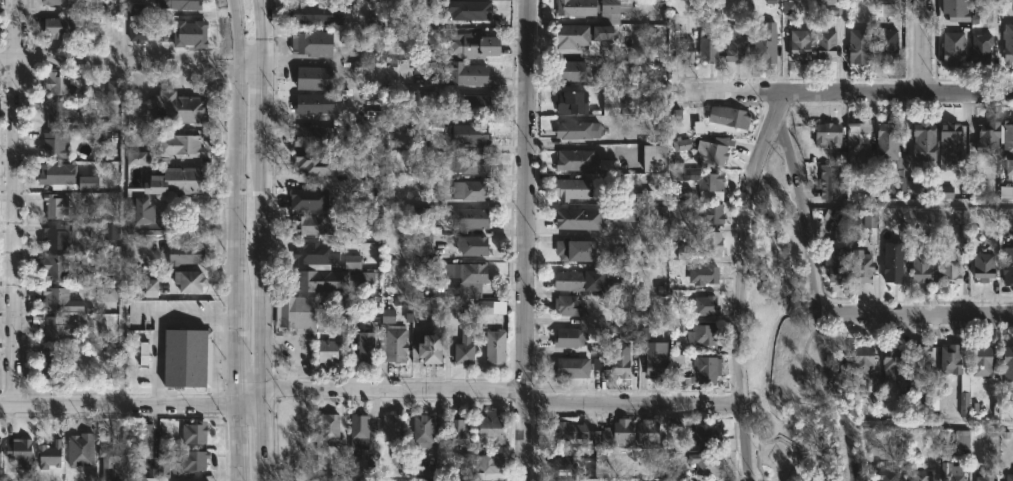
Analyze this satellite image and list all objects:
building: (62, 2)
building: (182, 3)
building: (592, 7)
building: (788, 7)
building: (831, 7)
building: (883, 8)
building: (470, 9)
building: (953, 11)
building: (316, 14)
building: (372, 22)
building: (63, 26)
road: (123, 32)
building: (191, 32)
road: (228, 32)
building: (601, 32)
building: (142, 33)
building: (575, 34)
building: (822, 41)
building: (310, 42)
building: (765, 42)
building: (1006, 43)
building: (477, 44)
building: (796, 45)
building: (855, 45)
building: (883, 45)
building: (731, 46)
road: (921, 47)
building: (949, 47)
building: (977, 47)
building: (707, 48)
building: (685, 50)
road: (131, 64)
building: (359, 67)
building: (575, 70)
building: (456, 72)
building: (314, 77)
building: (61, 84)
building: (113, 89)
road: (845, 92)
building: (610, 96)
building: (574, 102)
building: (315, 103)
building: (474, 104)
building: (183, 106)
building: (625, 107)
building: (59, 114)
building: (675, 115)
building: (730, 116)
building: (580, 129)
building: (473, 133)
building: (823, 134)
building: (315, 136)
building: (985, 137)
building: (421, 138)
building: (921, 140)
building: (854, 142)
building: (682, 144)
building: (57, 145)
building: (181, 145)
building: (946, 145)
building: (709, 152)
building: (888, 155)
building: (654, 157)
building: (137, 158)
building: (578, 160)
building: (1006, 160)
building: (319, 163)
building: (470, 163)
building: (68, 176)
building: (370, 176)
road: (238, 179)
building: (706, 180)
building: (178, 181)
building: (828, 186)
building: (574, 189)
building: (472, 190)
building: (683, 191)
building: (946, 192)
building: (643, 198)
building: (308, 199)
road: (15, 202)
road: (907, 203)
building: (57, 205)
building: (625, 213)
building: (707, 213)
building: (458, 216)
building: (960, 216)
building: (144, 217)
building: (580, 218)
building: (869, 222)
building: (314, 224)
building: (110, 231)
road: (121, 234)
building: (59, 235)
road: (263, 239)
road: (525, 240)
building: (433, 241)
building: (707, 243)
building: (475, 245)
building: (567, 248)
road: (807, 249)
building: (682, 251)
building: (316, 253)
building: (187, 254)
building: (918, 260)
building: (352, 261)
building: (832, 263)
building: (950, 263)
building: (983, 264)
building: (1006, 265)
building: (857, 266)
building: (58, 267)
building: (889, 268)
building: (419, 271)
building: (702, 275)
building: (469, 277)
building: (364, 279)
building: (388, 279)
building: (193, 280)
building: (576, 280)
building: (323, 281)
building: (150, 282)
road: (731, 282)
building: (107, 292)
building: (57, 298)
building: (569, 305)
building: (701, 305)
building: (491, 307)
building: (298, 312)
road: (913, 313)
road: (203, 315)
building: (387, 316)
building: (54, 328)
building: (627, 333)
building: (702, 335)
building: (567, 337)
road: (239, 339)
building: (395, 343)
building: (367, 346)
building: (435, 346)
building: (498, 348)
building: (466, 349)
building: (330, 351)
building: (143, 353)
road: (156, 357)
building: (188, 358)
building: (890, 358)
building: (951, 358)
building: (856, 359)
building: (978, 359)
building: (623, 360)
building: (918, 360)
building: (54, 363)
building: (656, 363)
building: (1005, 363)
building: (573, 367)
building: (704, 369)
road: (250, 385)
road: (393, 387)
road: (239, 396)
road: (631, 401)
building: (930, 401)
road: (7, 404)
road: (126, 406)
road: (250, 407)
road: (929, 424)
road: (846, 427)
building: (395, 428)
building: (424, 428)
building: (459, 429)
building: (493, 429)
building: (333, 430)
building: (196, 432)
building: (361, 432)
building: (651, 432)
building: (144, 433)
building: (578, 433)
building: (622, 433)
building: (702, 434)
building: (961, 439)
road: (238, 444)
building: (1, 450)
building: (21, 450)
building: (82, 450)
building: (51, 455)
building: (568, 459)
building: (115, 460)
building: (196, 460)
building: (162, 463)
building: (700, 463)
building: (492, 467)
building: (428, 472)
building: (948, 472)
building: (881, 474)
building: (918, 475)
building: (982, 476)
building: (1008, 477)
building: (323, 480)
building: (576, 480)

